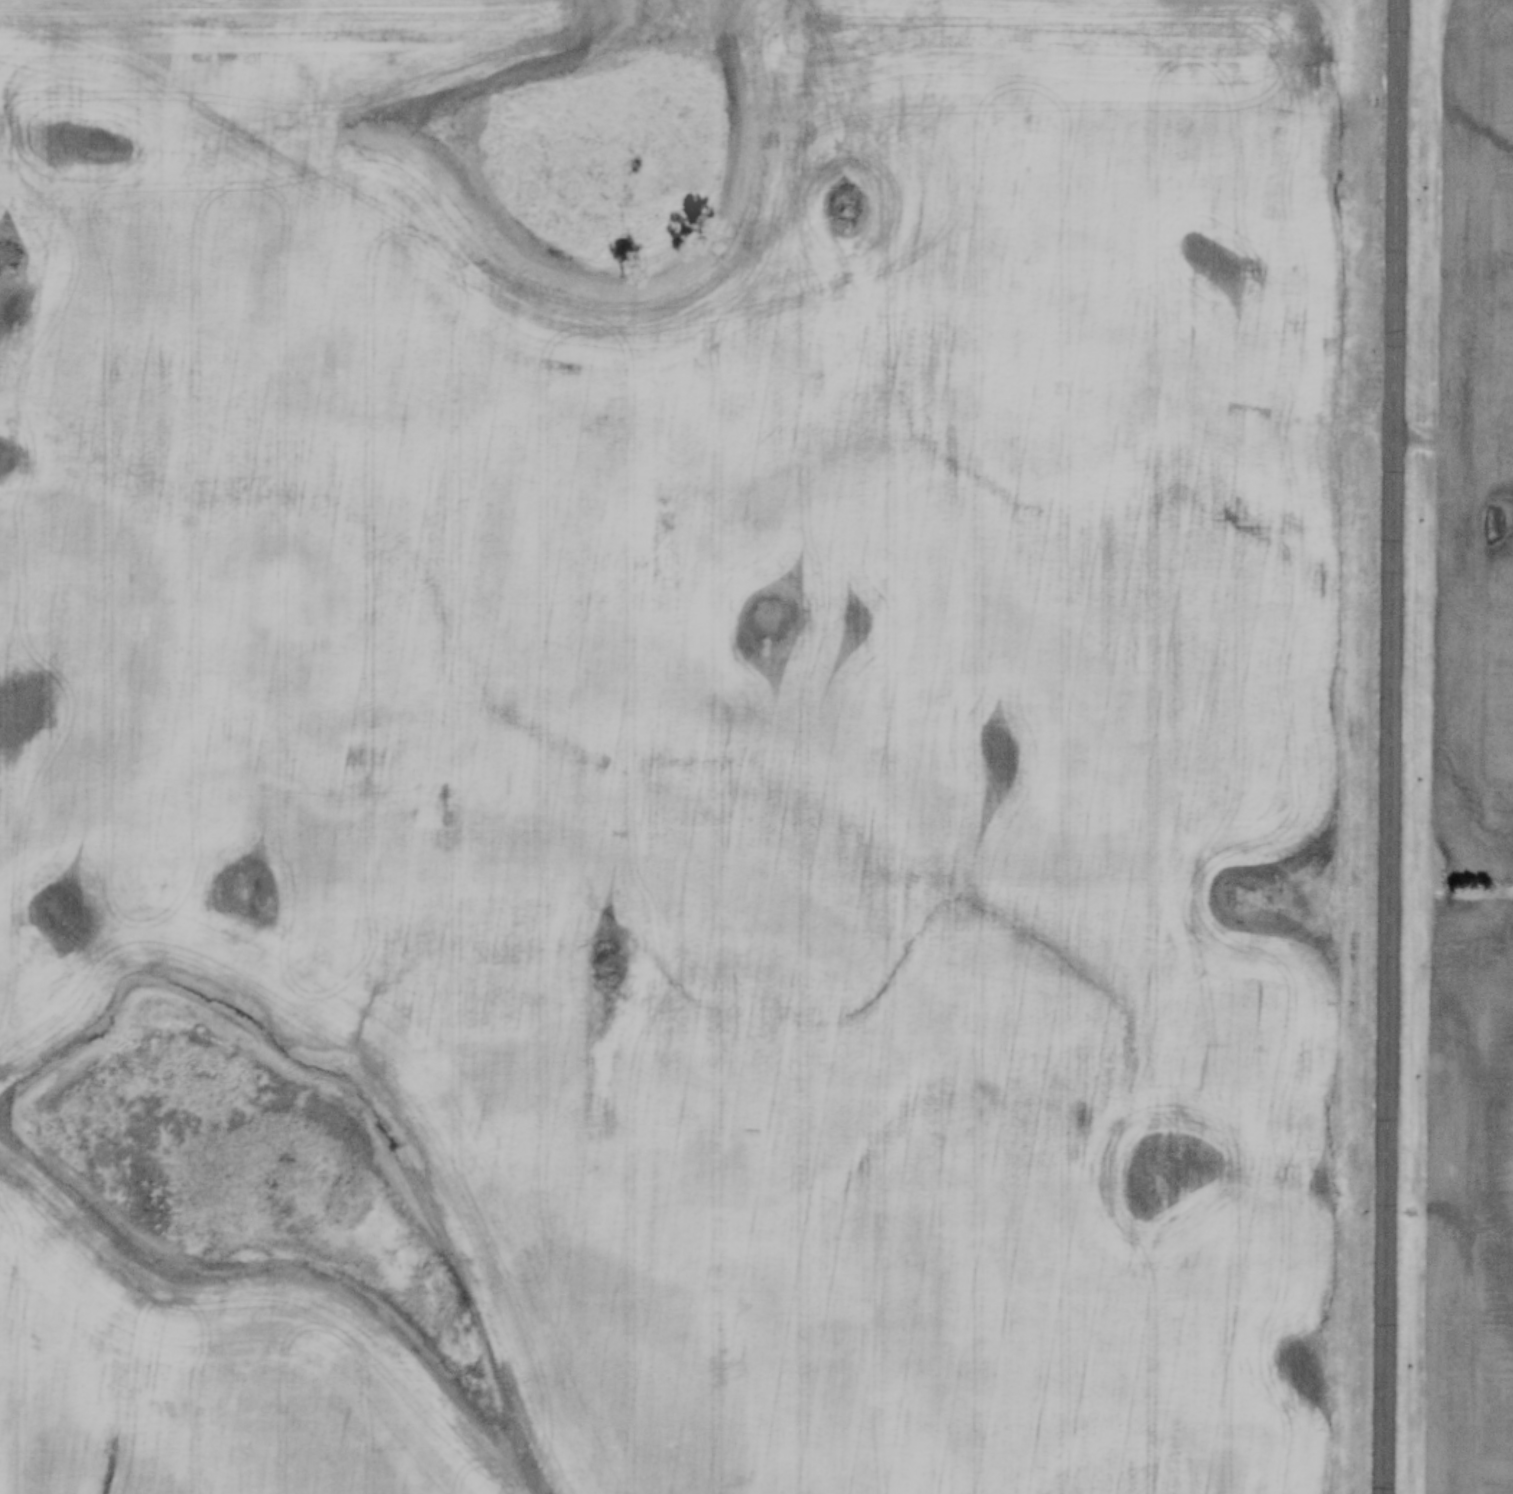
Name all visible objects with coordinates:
road: (1390, 746)

